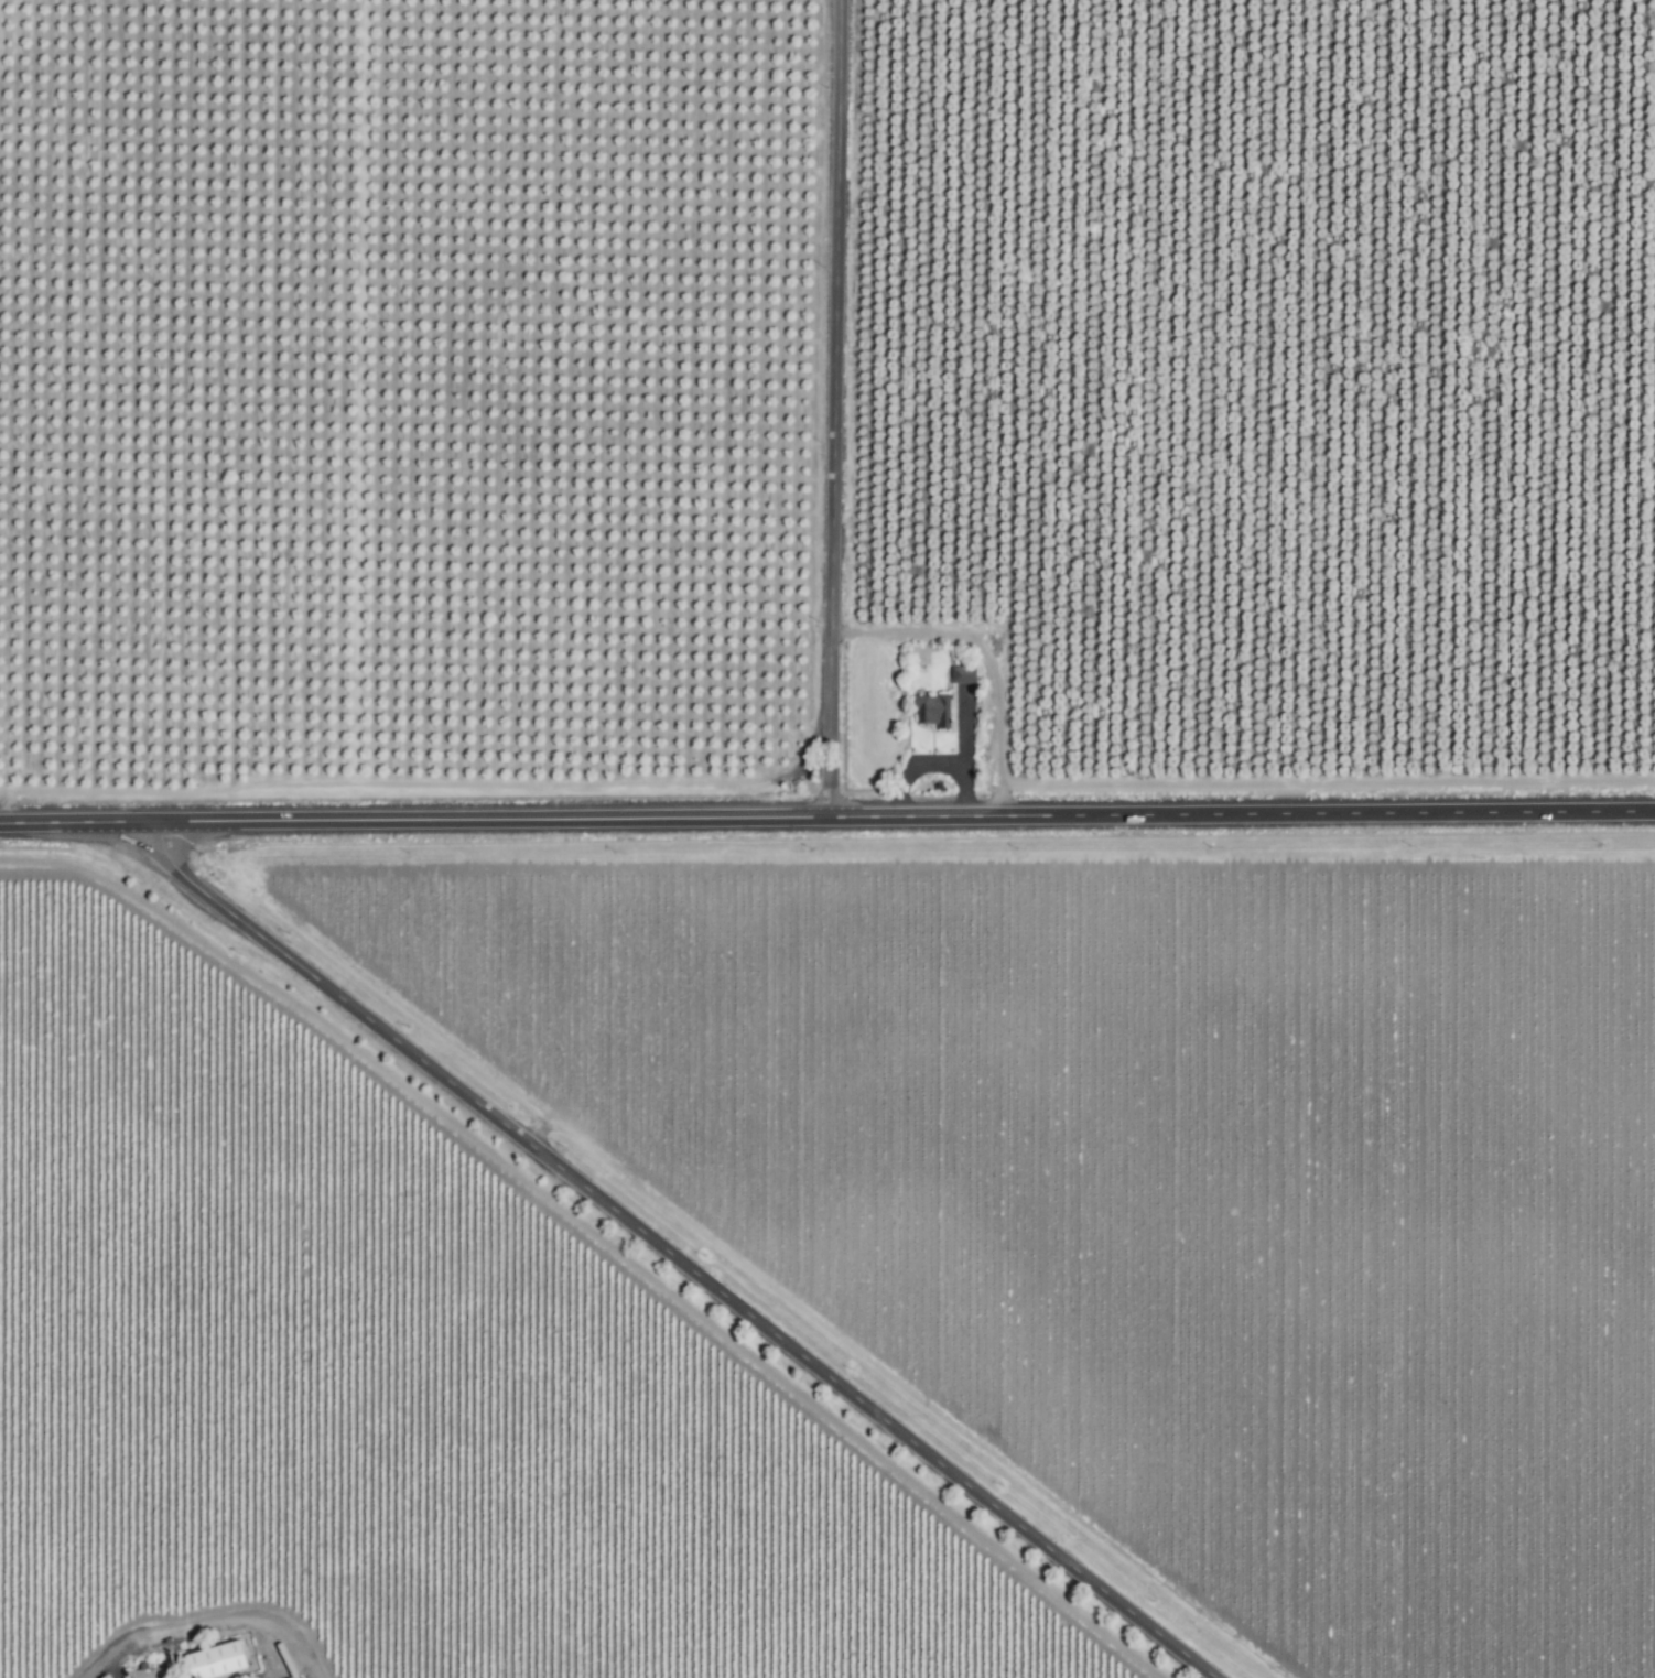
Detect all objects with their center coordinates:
road: (833, 408)
building: (927, 711)
road: (964, 726)
road: (934, 762)
road: (826, 816)
road: (674, 1257)
road: (201, 1619)
building: (223, 1661)
building: (155, 1674)

